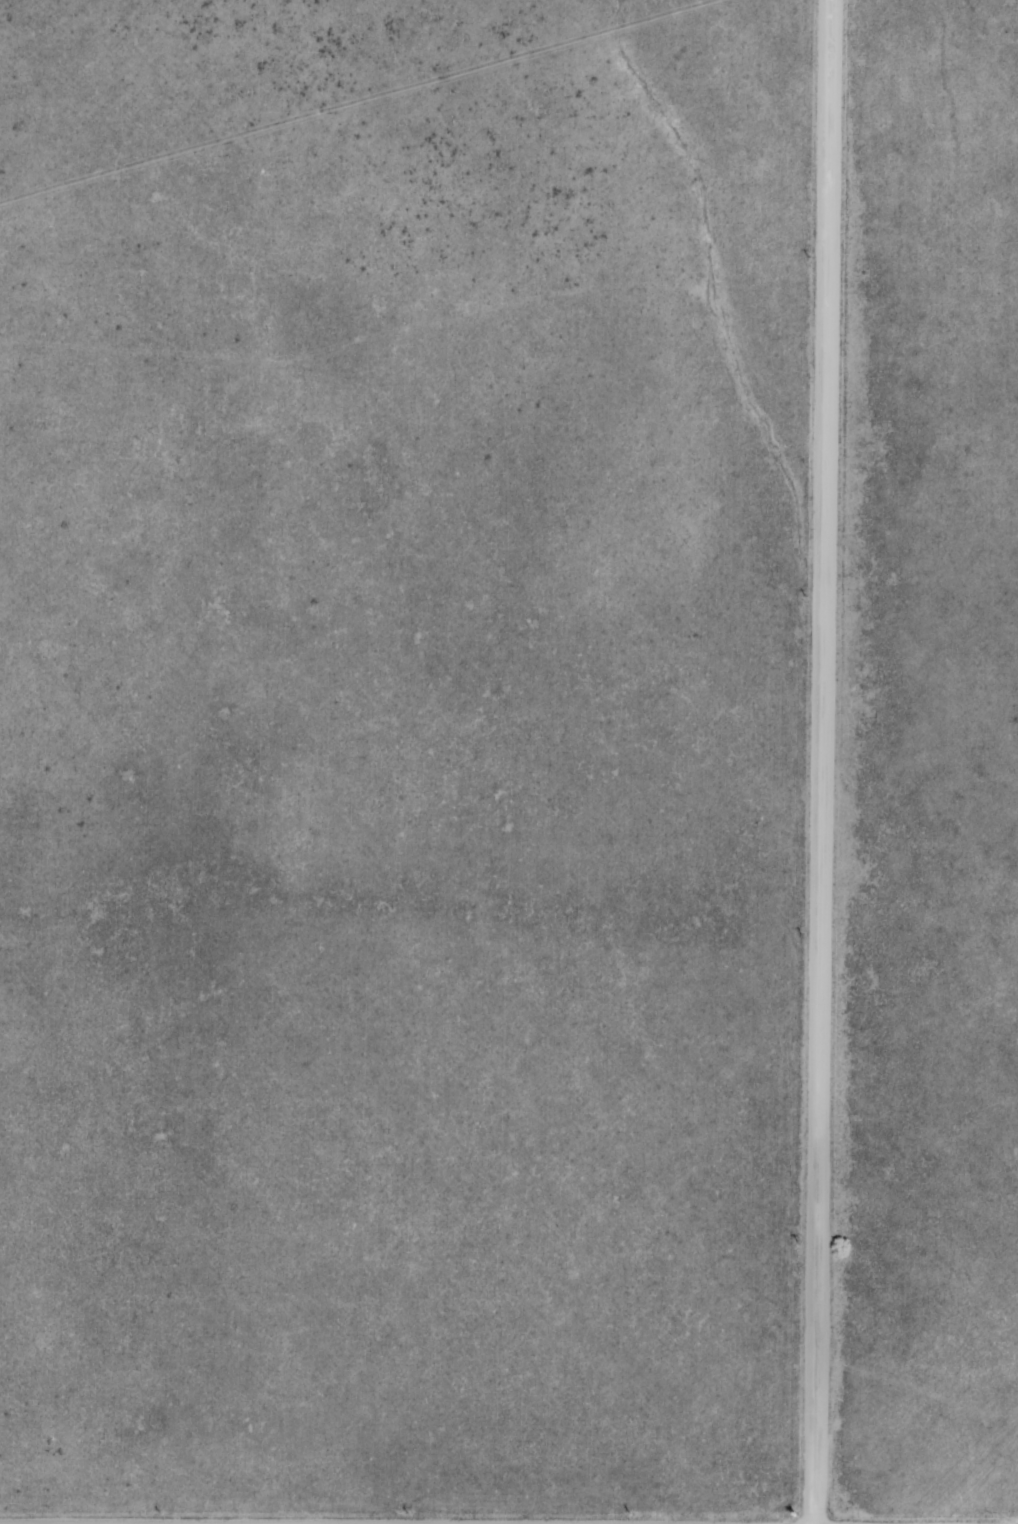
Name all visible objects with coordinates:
road: (825, 762)

